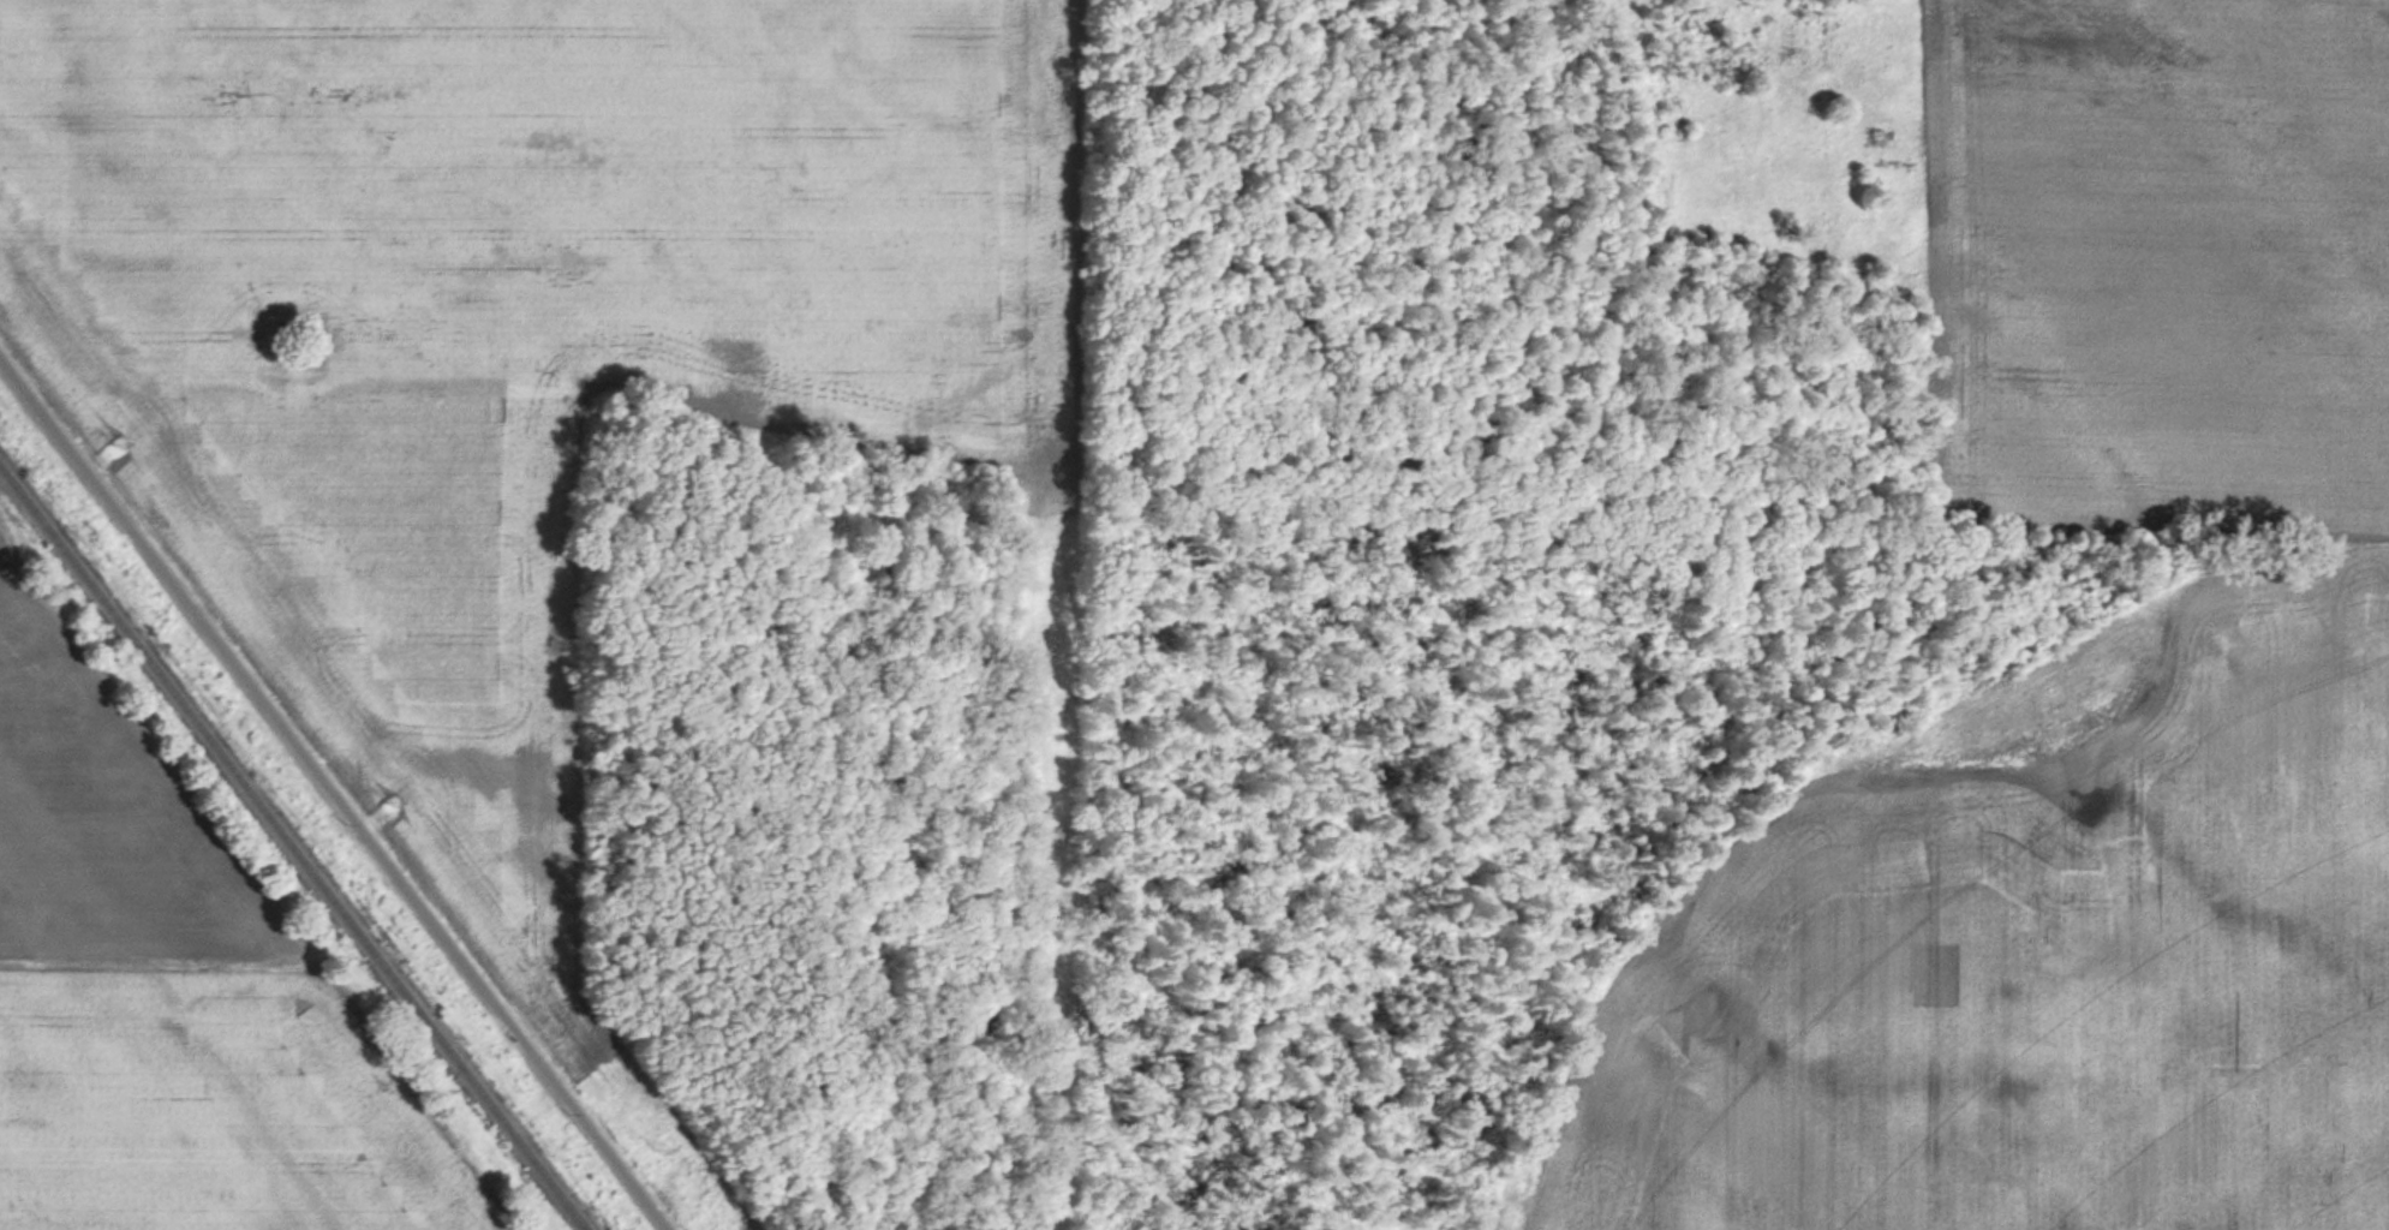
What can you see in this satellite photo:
road: (335, 795)
railway: (291, 849)

